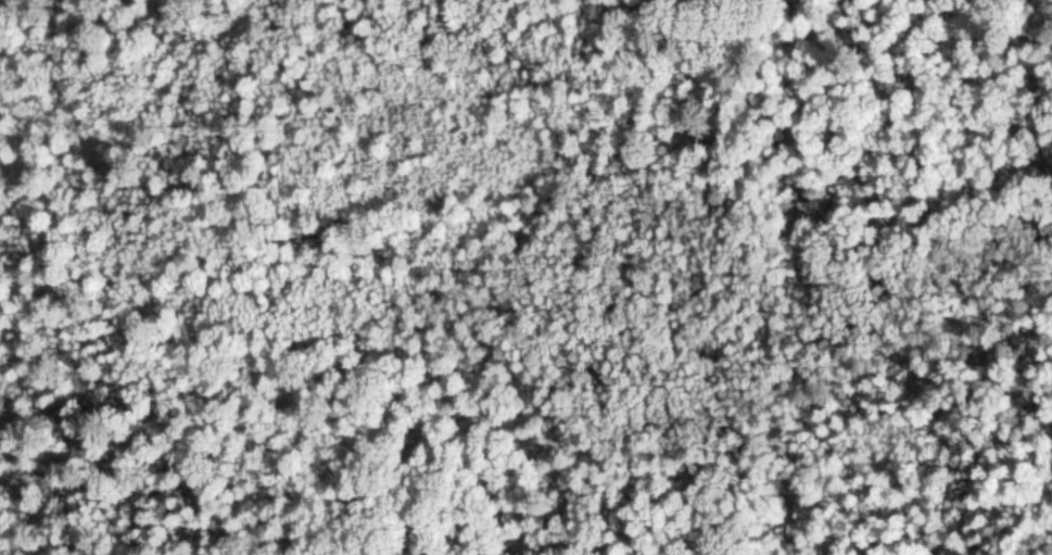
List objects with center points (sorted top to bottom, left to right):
road: (137, 117)

